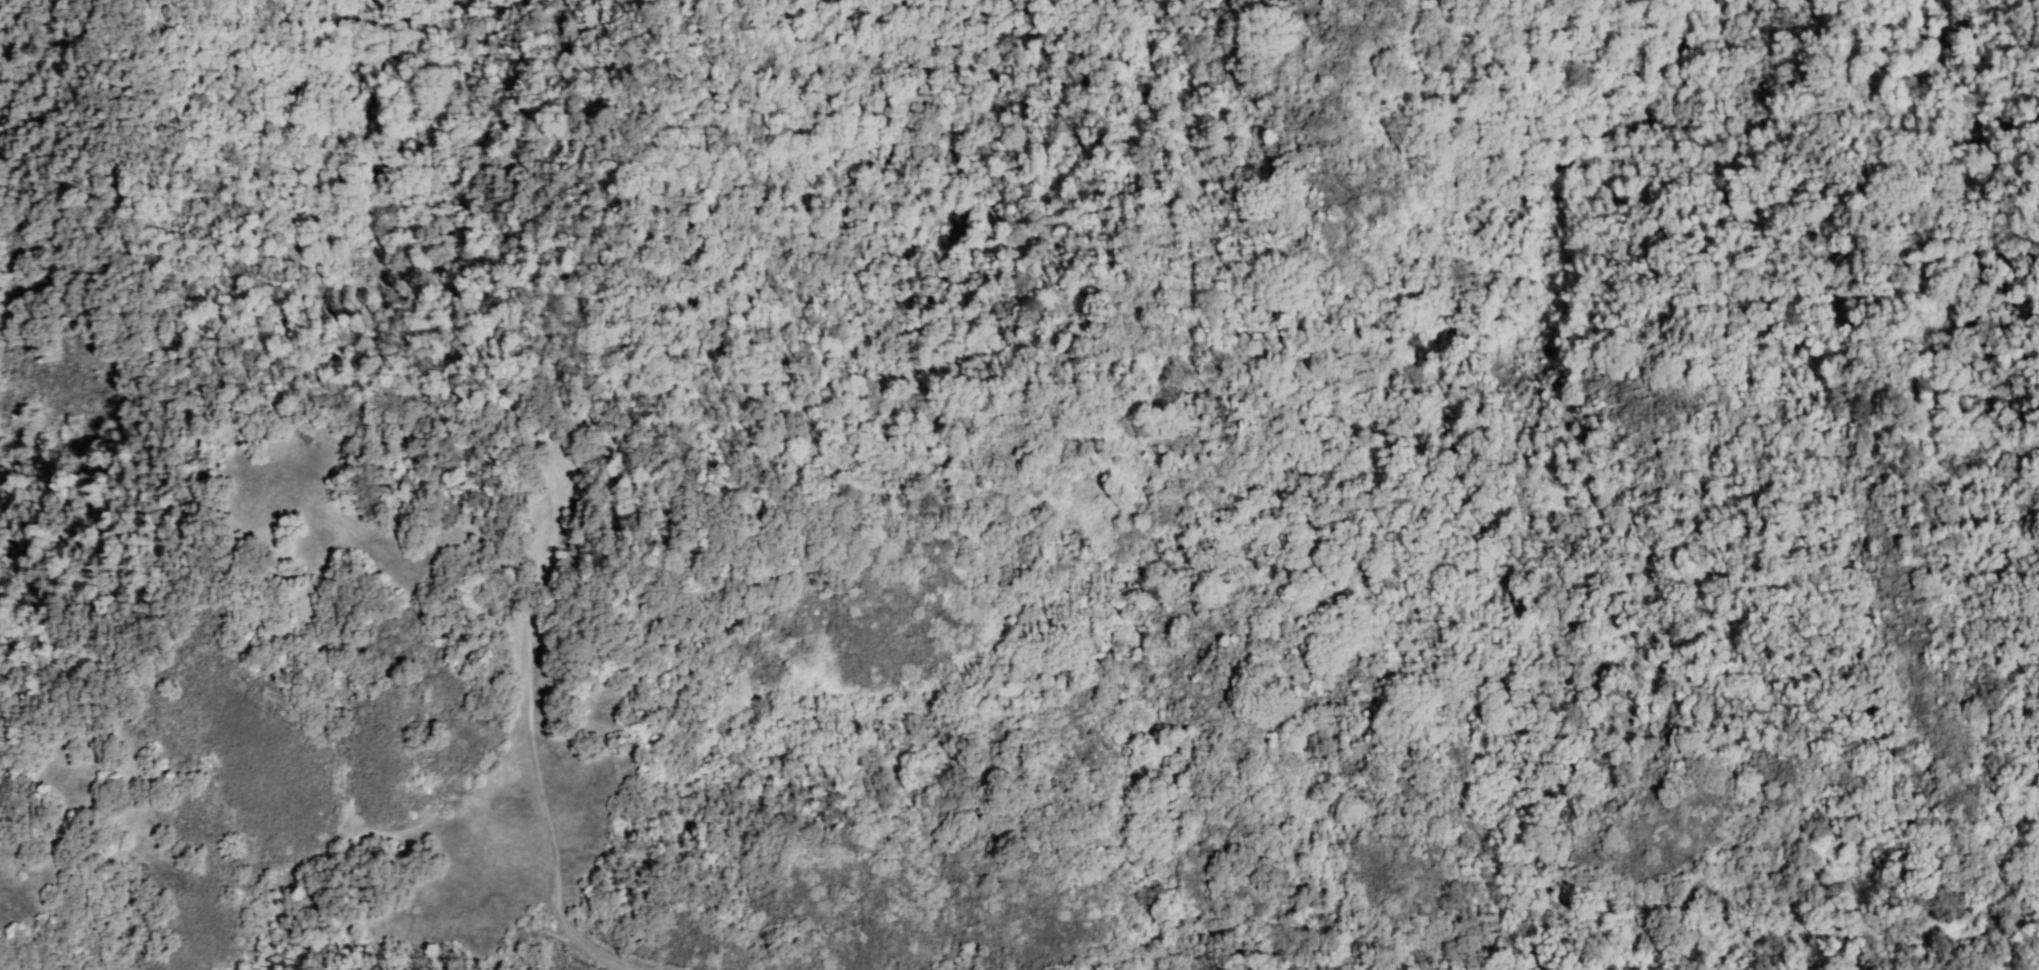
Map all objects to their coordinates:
road: (539, 788)

